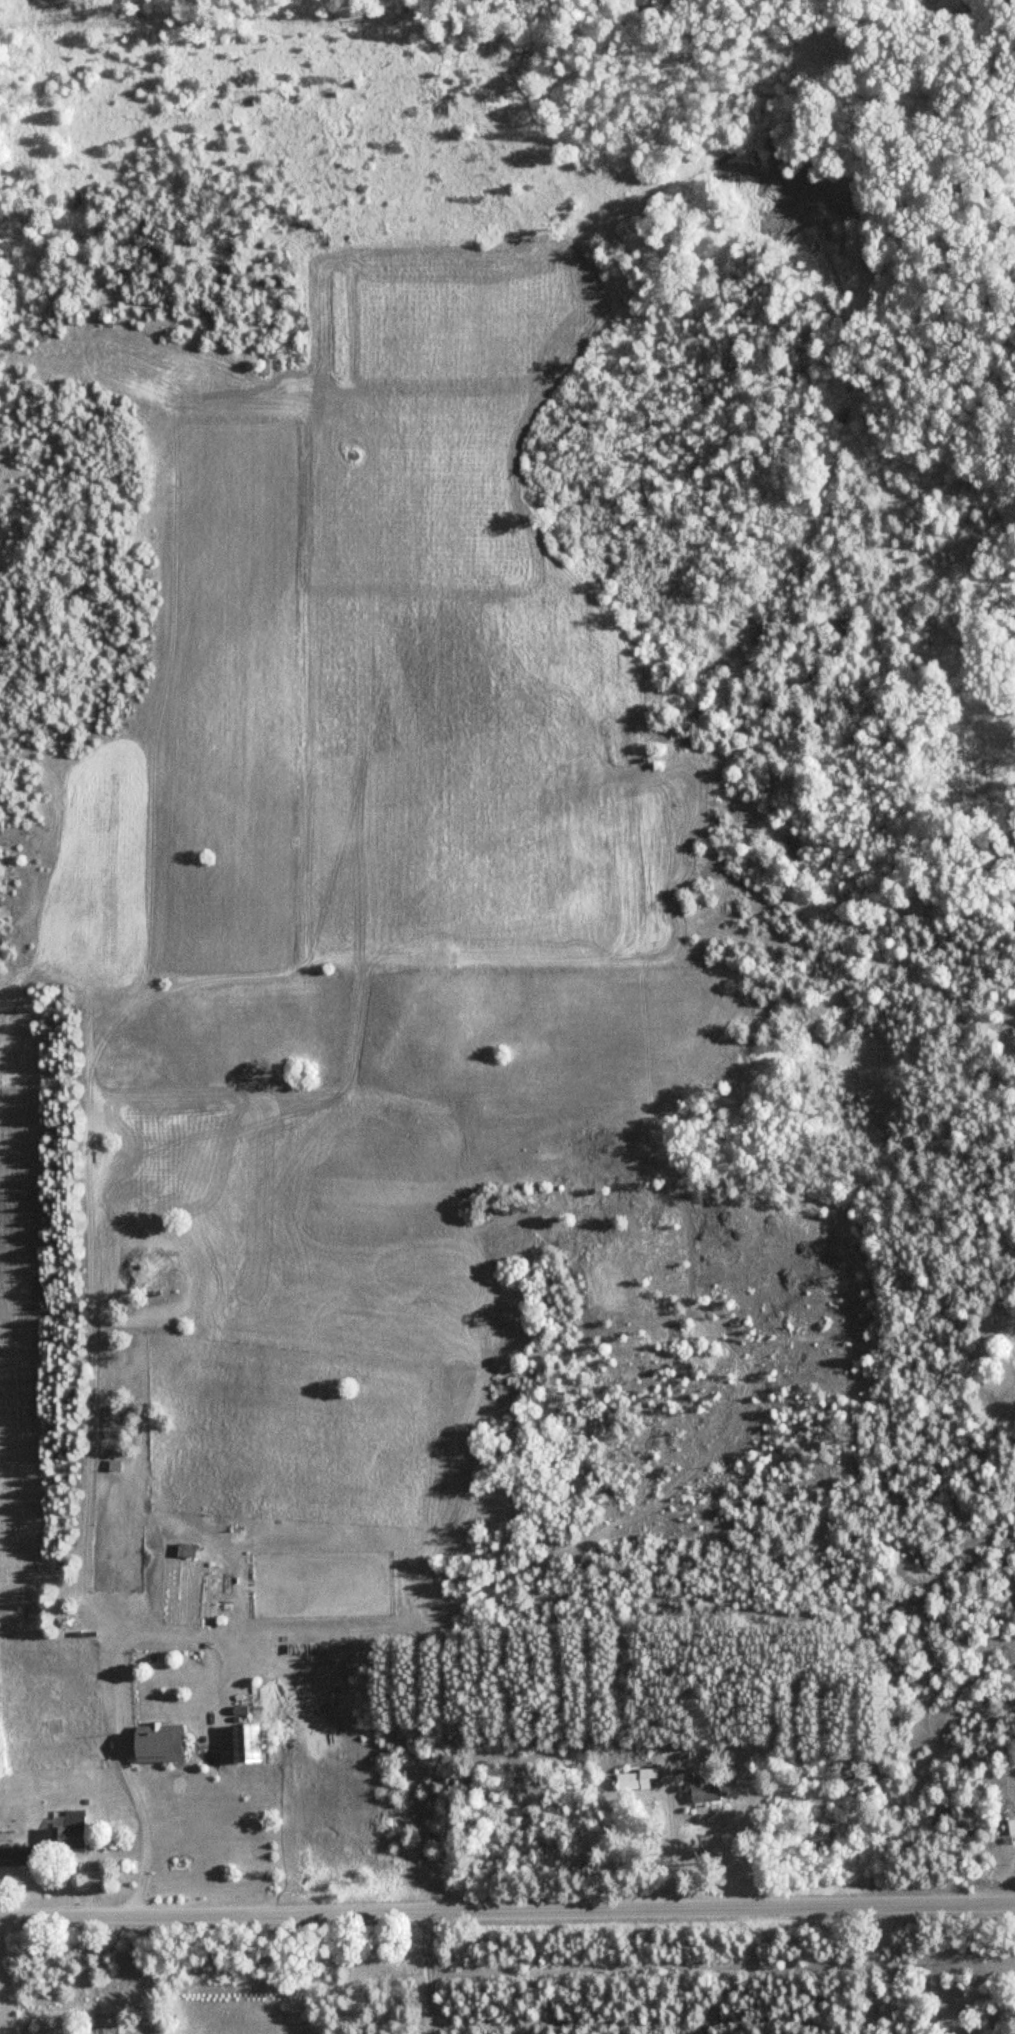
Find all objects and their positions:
building: (185, 1549)
building: (155, 1741)
building: (244, 1742)
building: (636, 1779)
building: (704, 1785)
building: (70, 1832)
building: (14, 1855)
road: (507, 1907)
building: (132, 2026)

